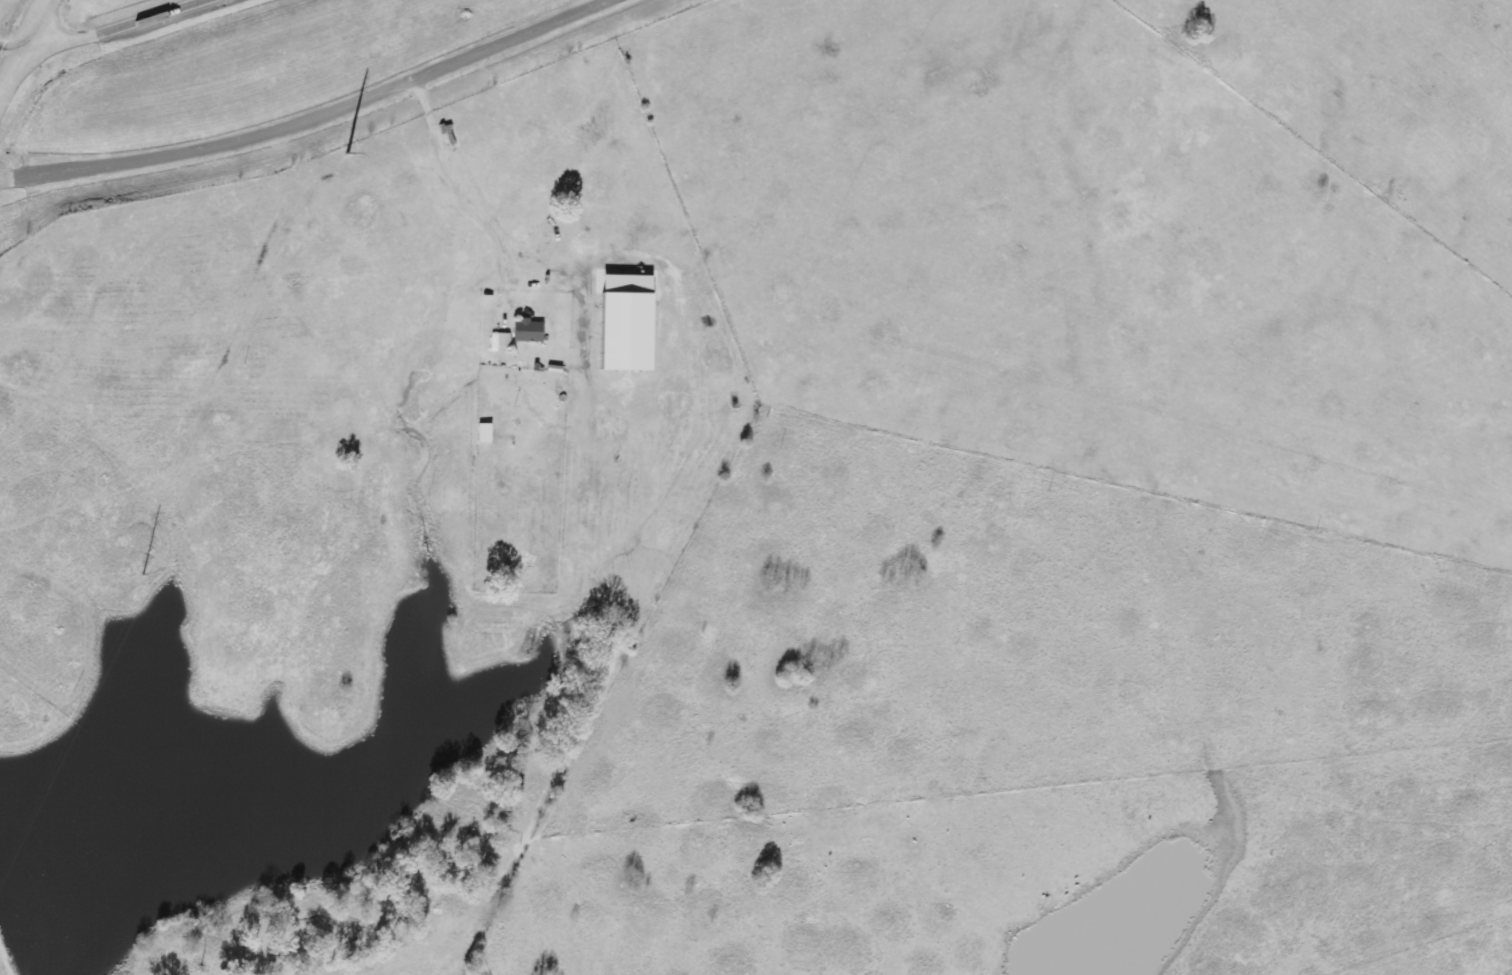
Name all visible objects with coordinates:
road: (103, 26)
road: (22, 44)
road: (9, 50)
road: (314, 117)
power tower: (347, 145)
building: (531, 330)
power tower: (138, 579)
power tower: (60, 709)

